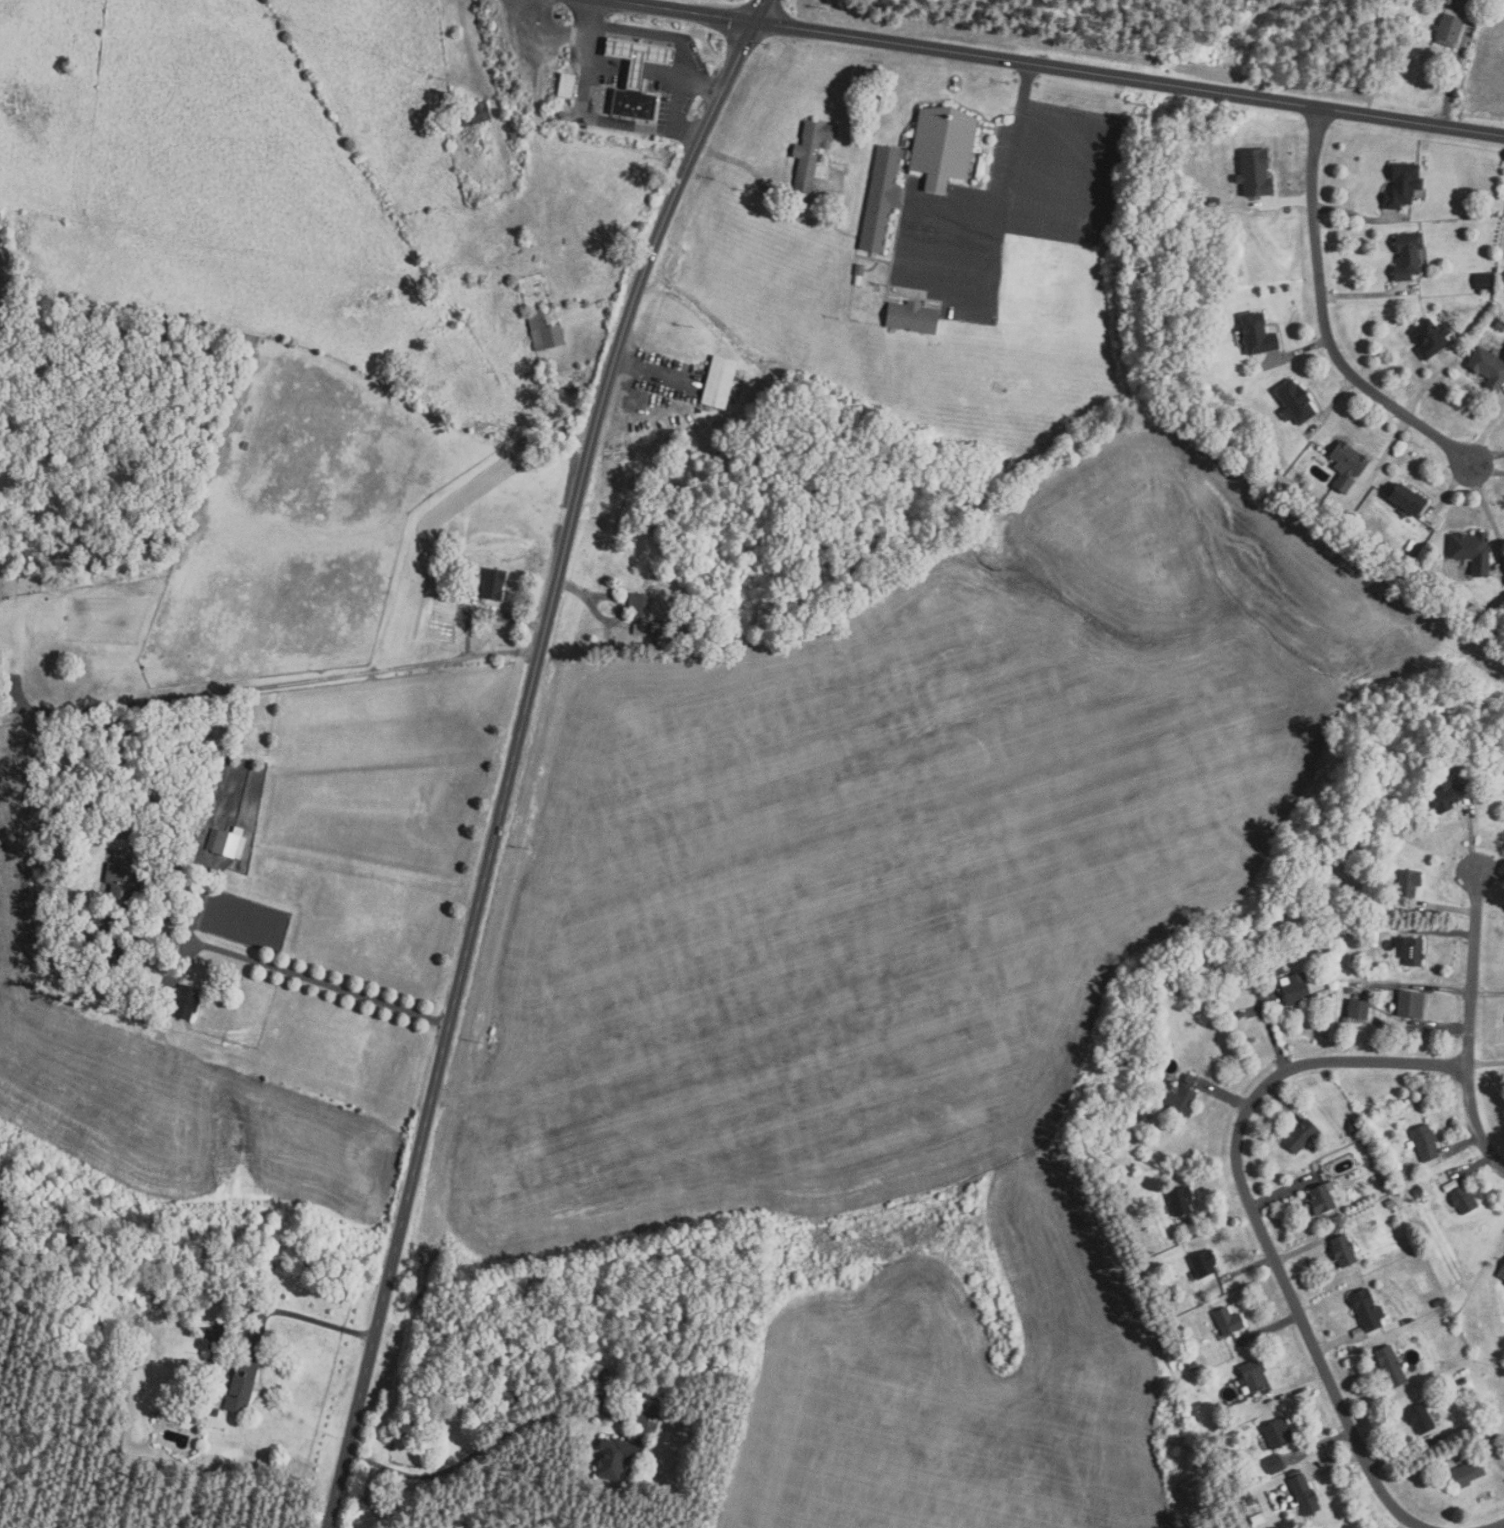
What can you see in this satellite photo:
building: (1448, 2)
road: (760, 11)
road: (588, 14)
road: (549, 28)
building: (1449, 28)
road: (1460, 63)
road: (1062, 68)
building: (636, 76)
building: (566, 86)
road: (700, 87)
building: (474, 115)
road: (676, 126)
building: (518, 132)
road: (1016, 144)
building: (812, 158)
building: (918, 168)
building: (1257, 173)
building: (1403, 183)
road: (764, 186)
road: (1284, 204)
road: (1358, 214)
road: (1053, 233)
building: (1409, 254)
building: (860, 270)
building: (1483, 280)
road: (899, 283)
road: (1367, 293)
building: (912, 317)
road: (1324, 317)
building: (1499, 325)
building: (544, 331)
building: (1257, 332)
building: (1431, 337)
road: (1298, 352)
building: (1503, 358)
building: (1488, 366)
road: (656, 370)
building: (719, 380)
road: (1428, 383)
building: (1295, 400)
road: (637, 404)
road: (1332, 406)
road: (1485, 432)
road: (1487, 456)
road: (1384, 457)
building: (1348, 464)
road: (1486, 467)
road: (1450, 490)
building: (1409, 498)
road: (1484, 504)
building: (137, 528)
building: (1472, 550)
building: (92, 554)
building: (28, 558)
building: (493, 582)
road: (622, 598)
building: (640, 604)
road: (484, 613)
building: (640, 629)
building: (657, 630)
building: (2, 664)
road: (268, 685)
road: (514, 765)
building: (1446, 795)
road: (1470, 840)
building: (226, 841)
road: (1490, 867)
building: (124, 874)
road: (1490, 876)
building: (1408, 883)
road: (195, 901)
road: (1440, 907)
building: (1389, 928)
road: (1440, 932)
road: (156, 934)
building: (1372, 936)
building: (113, 952)
building: (1413, 952)
road: (196, 958)
building: (1277, 969)
road: (317, 980)
building: (1295, 988)
road: (1443, 988)
road: (1488, 993)
building: (186, 1001)
building: (1411, 1005)
building: (1359, 1008)
road: (1469, 1025)
road: (1440, 1027)
road: (1273, 1031)
road: (1486, 1062)
road: (1224, 1095)
building: (1182, 1096)
road: (1280, 1099)
building: (1397, 1111)
building: (1353, 1126)
building: (1299, 1136)
building: (1426, 1143)
road: (1461, 1145)
road: (1471, 1169)
building: (1388, 1186)
building: (1418, 1191)
road: (1282, 1193)
building: (1424, 1198)
building: (1322, 1199)
building: (1464, 1200)
building: (1181, 1201)
building: (1390, 1203)
road: (1218, 1211)
road: (1256, 1220)
road: (1305, 1247)
building: (1343, 1252)
building: (1204, 1264)
road: (1250, 1266)
building: (1501, 1273)
building: (1439, 1302)
building: (1367, 1310)
road: (311, 1318)
building: (1229, 1322)
building: (1449, 1322)
road: (1267, 1329)
road: (1337, 1343)
building: (1193, 1365)
building: (1392, 1365)
building: (1253, 1376)
building: (1462, 1381)
building: (240, 1386)
road: (1291, 1386)
building: (605, 1400)
road: (1361, 1400)
building: (655, 1403)
building: (215, 1412)
building: (190, 1415)
building: (1420, 1419)
building: (1231, 1422)
building: (1485, 1431)
building: (1492, 1431)
building: (1279, 1434)
road: (491, 1441)
road: (1319, 1443)
road: (1501, 1453)
road: (1401, 1454)
building: (617, 1457)
road: (1336, 1463)
building: (1275, 1464)
building: (1467, 1472)
building: (1247, 1476)
building: (1304, 1494)
building: (1289, 1506)
building: (1257, 1518)
road: (1403, 1523)
road: (1499, 1526)

